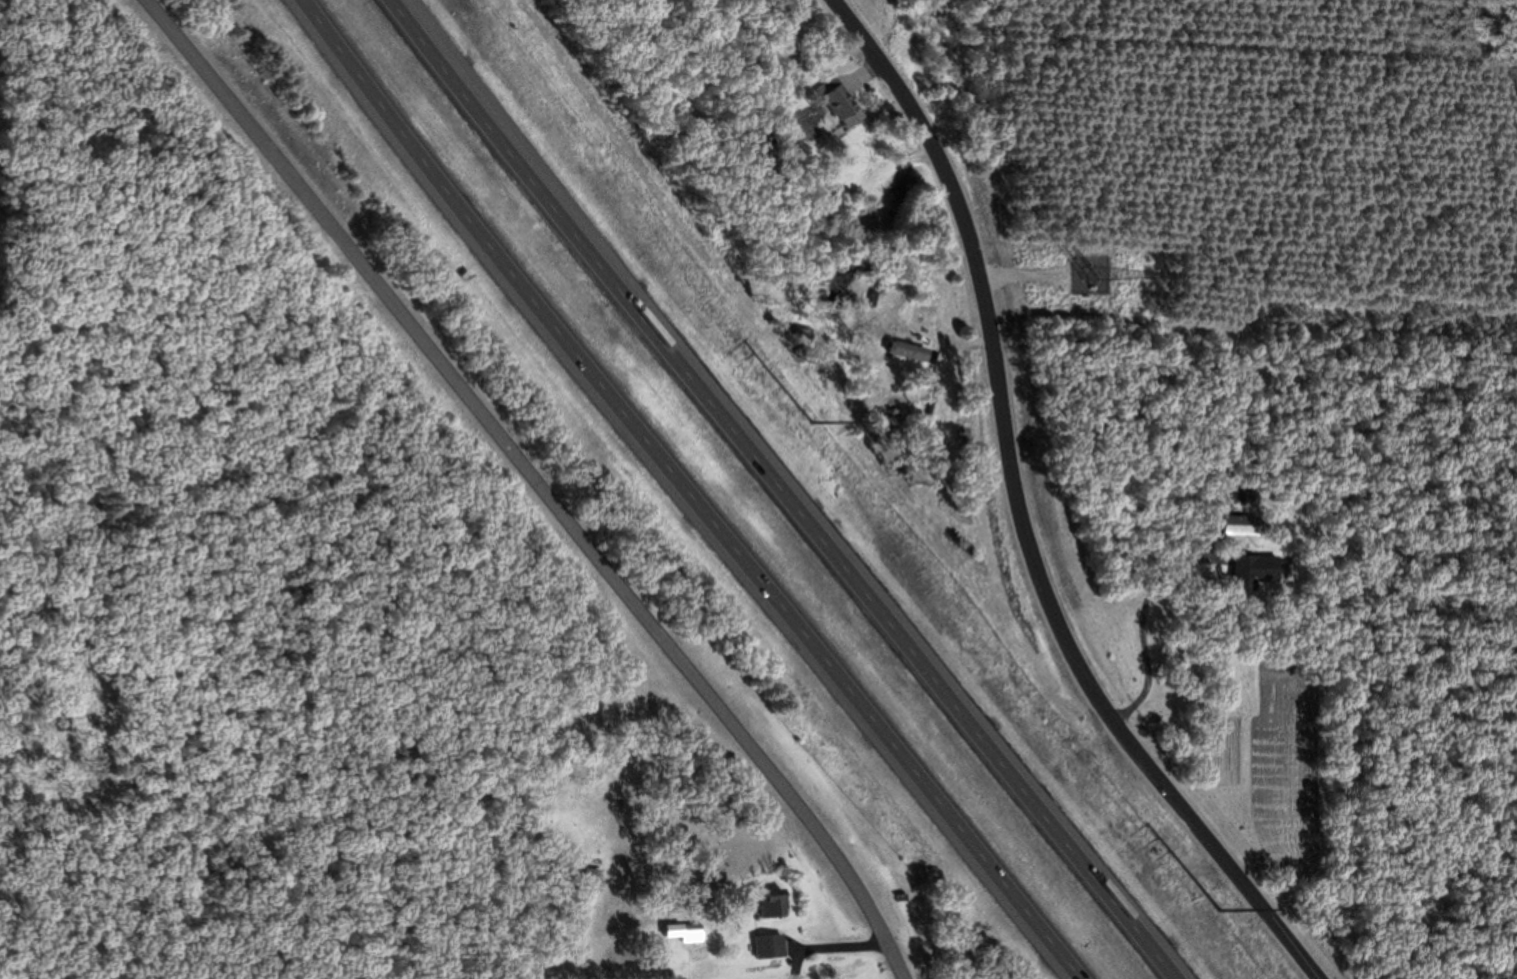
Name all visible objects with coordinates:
building: (780, 74)
building: (833, 104)
building: (901, 353)
power tower: (813, 421)
building: (1213, 463)
road: (533, 483)
road: (687, 486)
road: (792, 494)
road: (1023, 509)
building: (1234, 525)
building: (1240, 573)
road: (1136, 610)
building: (780, 905)
power tower: (1217, 909)
building: (691, 932)
building: (776, 948)

